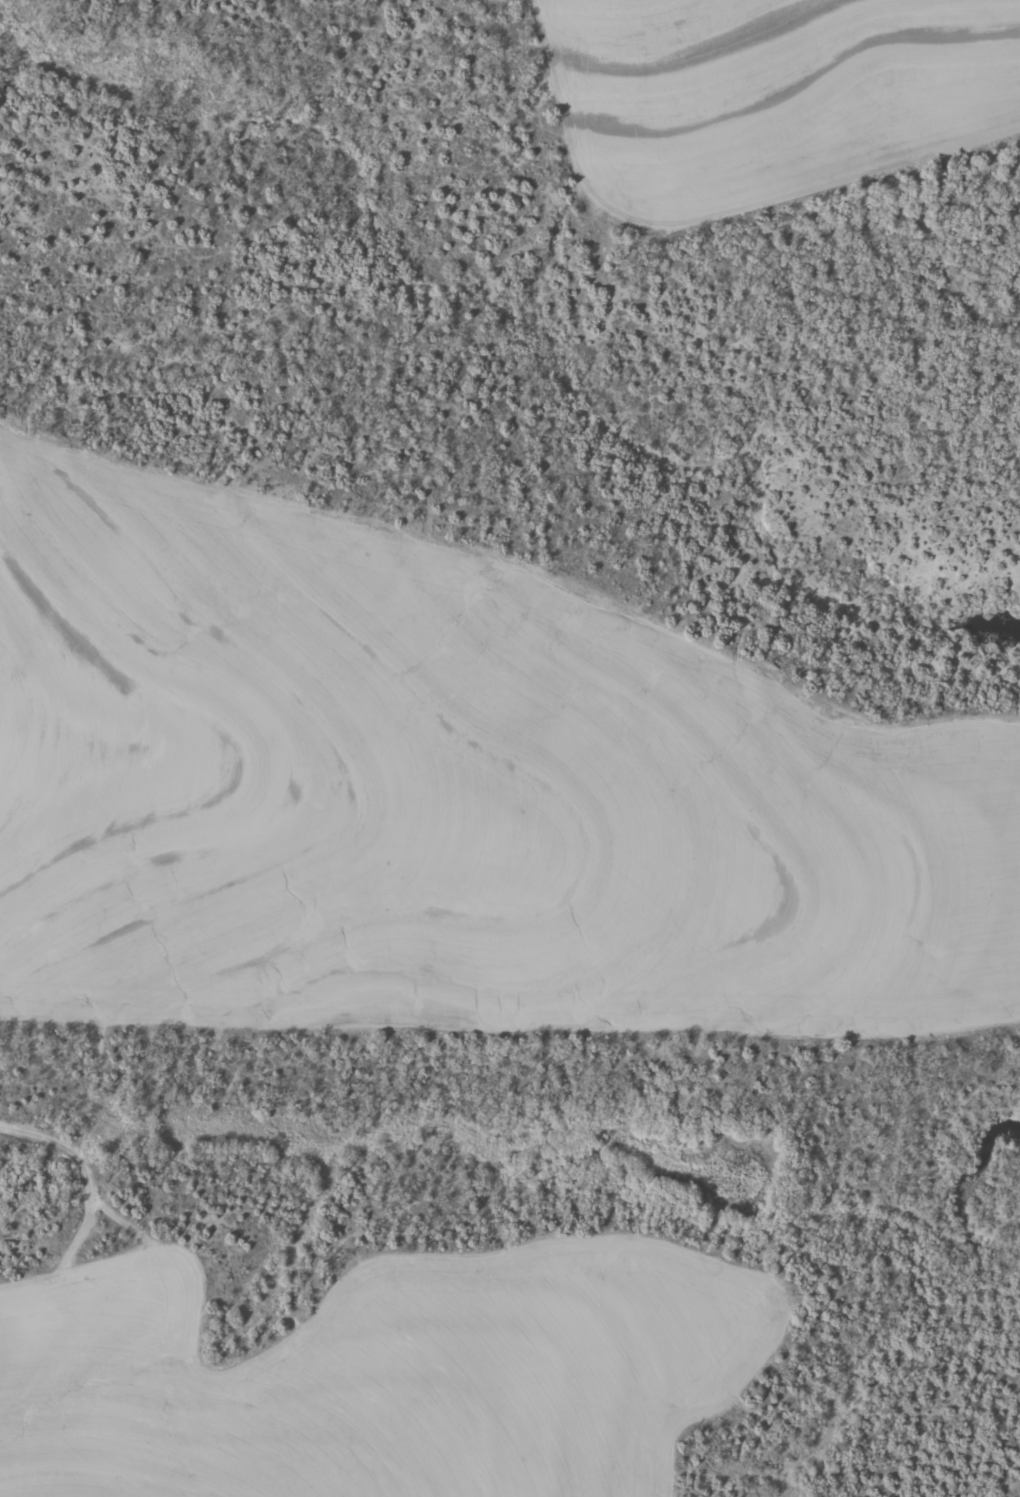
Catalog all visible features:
road: (103, 1223)

